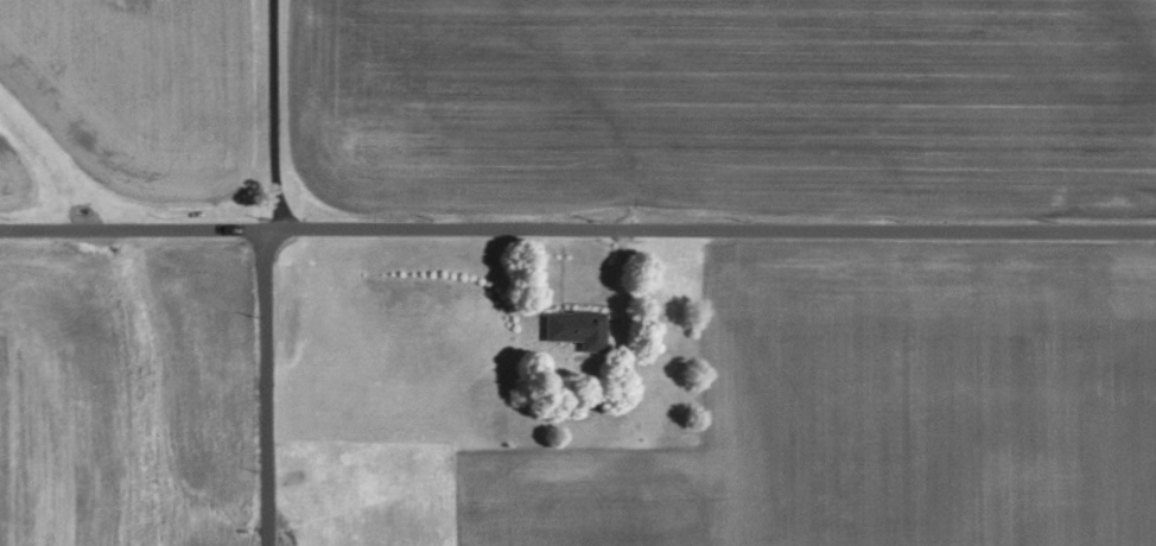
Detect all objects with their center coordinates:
road: (273, 116)
road: (577, 228)
building: (572, 329)
road: (262, 389)

